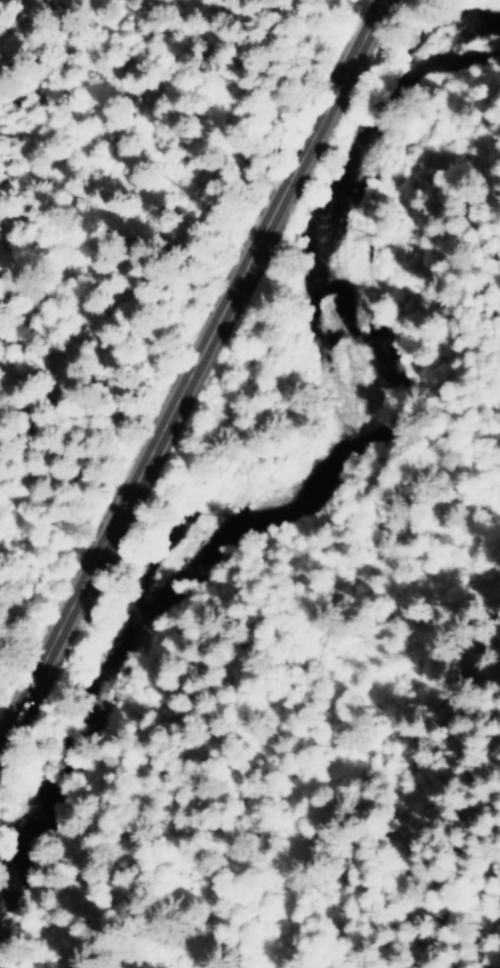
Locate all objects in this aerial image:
road: (192, 371)
river: (268, 504)

